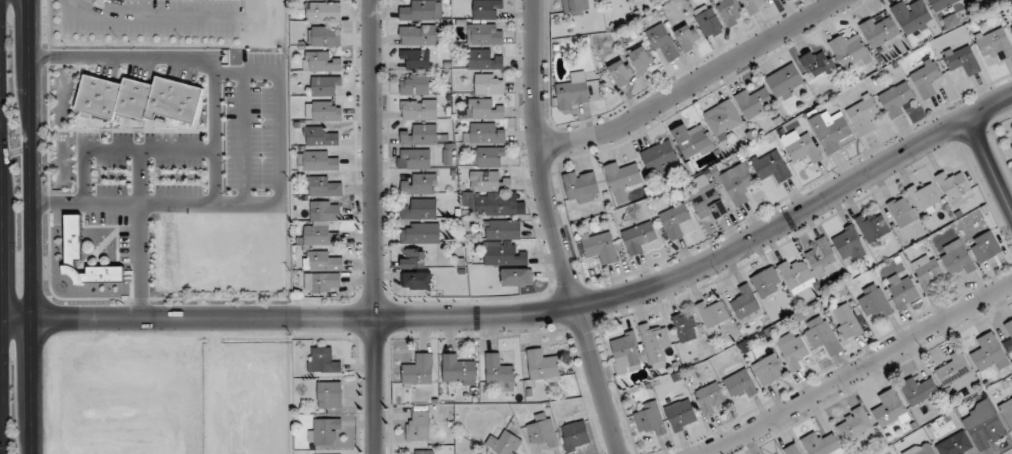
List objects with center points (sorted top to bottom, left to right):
building: (972, 0)
building: (942, 4)
building: (754, 5)
building: (575, 6)
building: (487, 9)
building: (324, 11)
building: (422, 11)
building: (730, 11)
road: (146, 15)
building: (912, 16)
building: (708, 21)
building: (1011, 27)
building: (879, 31)
building: (485, 34)
building: (418, 35)
building: (324, 36)
building: (688, 37)
building: (663, 43)
building: (995, 44)
building: (849, 51)
building: (416, 59)
building: (642, 59)
building: (483, 60)
building: (963, 60)
building: (320, 62)
building: (817, 62)
building: (622, 73)
building: (928, 79)
road: (691, 82)
building: (785, 82)
building: (489, 84)
building: (415, 85)
building: (573, 91)
building: (326, 99)
building: (896, 99)
building: (754, 103)
building: (484, 109)
building: (419, 110)
building: (863, 115)
building: (723, 119)
building: (831, 131)
building: (484, 134)
building: (423, 136)
building: (319, 137)
building: (693, 141)
building: (1011, 146)
building: (801, 147)
road: (0, 154)
building: (488, 157)
building: (416, 158)
building: (659, 159)
building: (318, 162)
building: (771, 166)
road: (988, 166)
building: (622, 179)
building: (488, 182)
building: (737, 184)
building: (420, 185)
building: (581, 186)
building: (322, 187)
building: (955, 188)
building: (923, 197)
building: (708, 202)
building: (494, 206)
road: (138, 207)
building: (420, 210)
building: (902, 211)
building: (675, 220)
building: (322, 223)
road: (32, 226)
road: (373, 227)
building: (873, 228)
building: (501, 229)
road: (557, 230)
building: (420, 233)
building: (639, 238)
building: (73, 241)
building: (848, 244)
building: (600, 247)
building: (985, 247)
building: (503, 254)
building: (822, 257)
building: (957, 258)
building: (413, 259)
building: (324, 261)
road: (1, 262)
building: (928, 272)
building: (797, 275)
building: (516, 277)
building: (417, 280)
building: (322, 282)
building: (766, 282)
building: (903, 290)
building: (875, 303)
building: (746, 305)
road: (531, 312)
building: (712, 314)
road: (0, 317)
building: (846, 322)
building: (684, 327)
building: (1009, 328)
building: (821, 336)
building: (655, 346)
building: (792, 350)
building: (989, 352)
building: (625, 353)
building: (322, 361)
building: (542, 365)
building: (457, 369)
building: (418, 370)
building: (768, 370)
road: (858, 370)
building: (499, 372)
building: (956, 372)
building: (739, 381)
building: (920, 390)
building: (329, 396)
building: (709, 398)
building: (889, 410)
building: (1007, 412)
building: (681, 414)
building: (651, 419)
building: (985, 425)
building: (418, 426)
building: (855, 426)
building: (324, 431)
building: (542, 432)
building: (575, 434)
building: (503, 444)
building: (821, 444)
building: (956, 445)
building: (921, 449)
building: (791, 450)
building: (424, 452)

